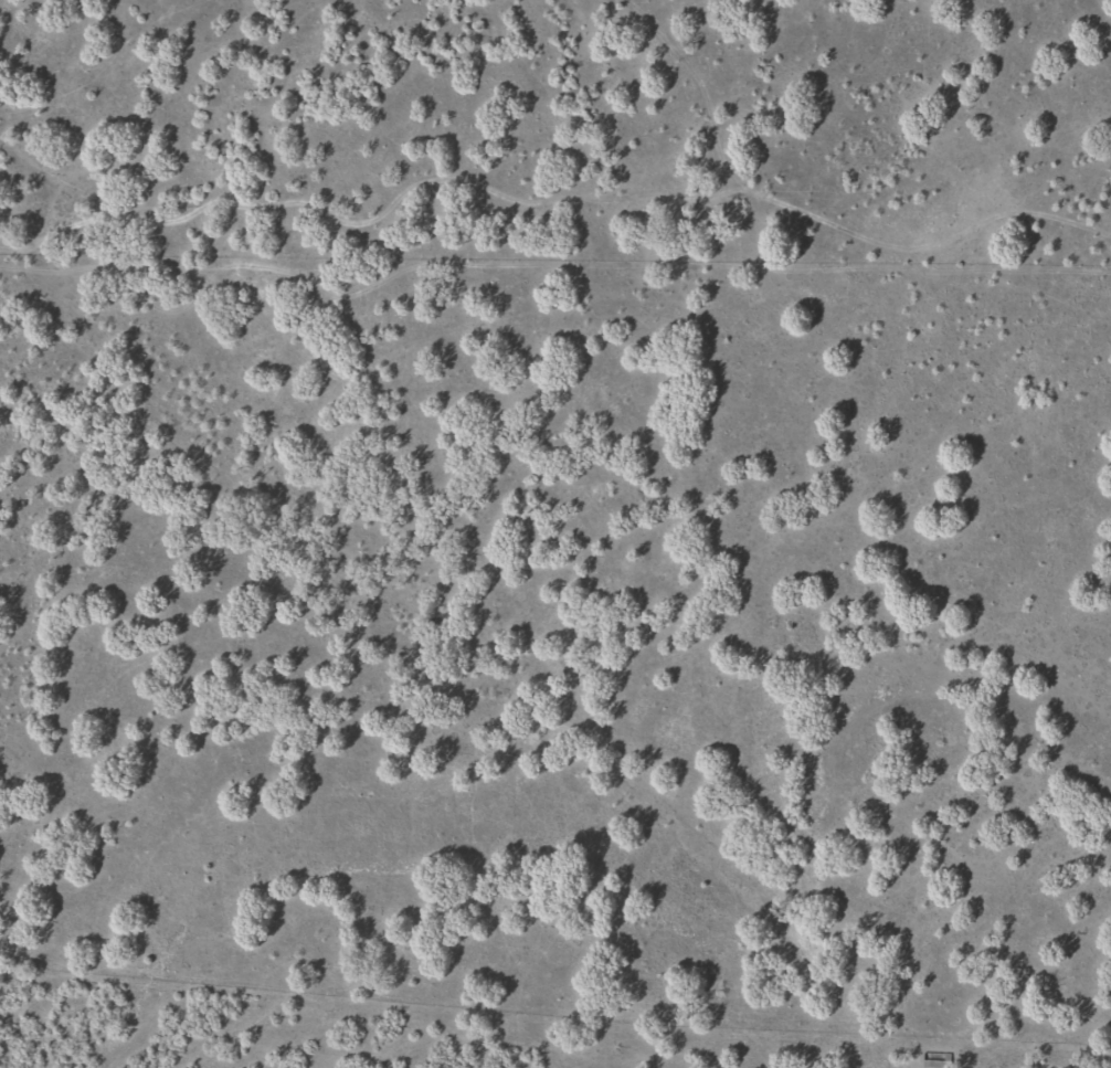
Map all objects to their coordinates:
road: (790, 303)
road: (232, 343)

